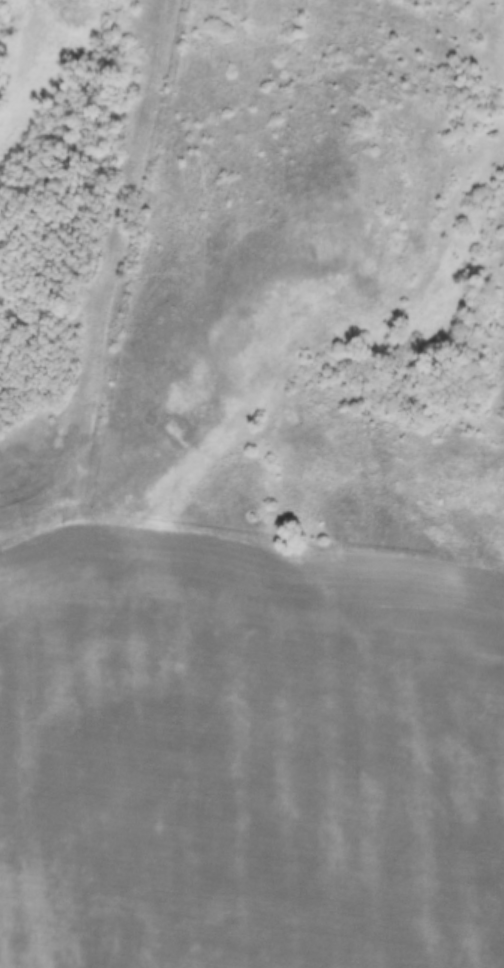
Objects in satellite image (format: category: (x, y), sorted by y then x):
road: (110, 279)

